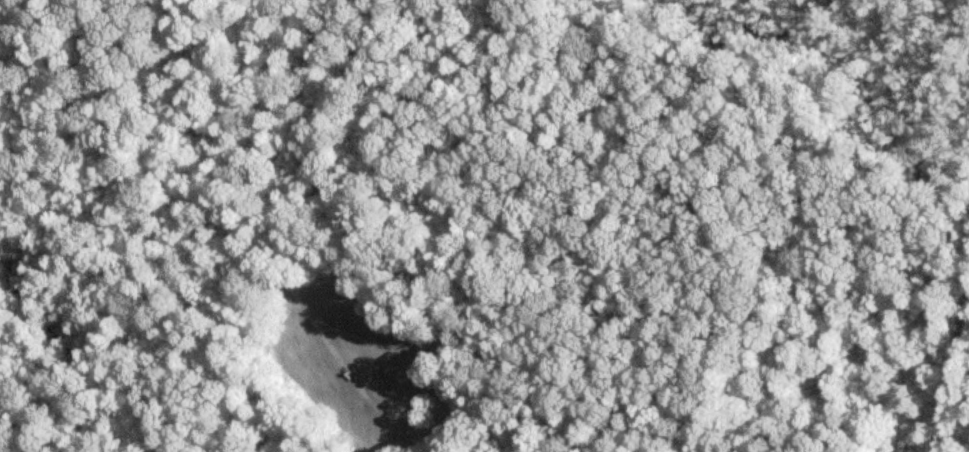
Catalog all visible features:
road: (245, 214)
road: (945, 336)

